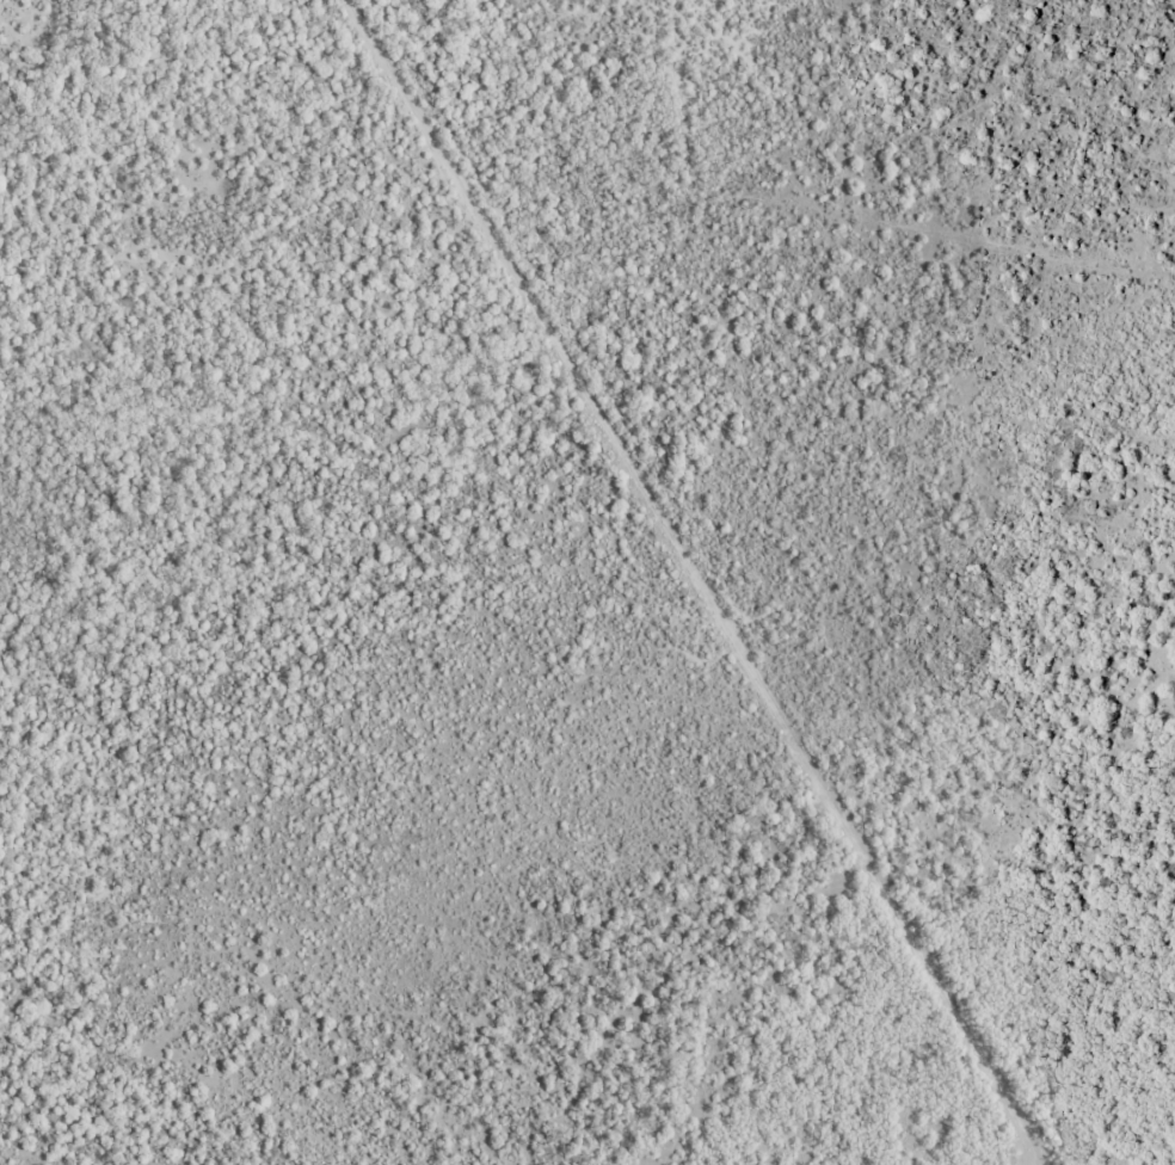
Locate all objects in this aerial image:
road: (941, 261)
road: (843, 586)

